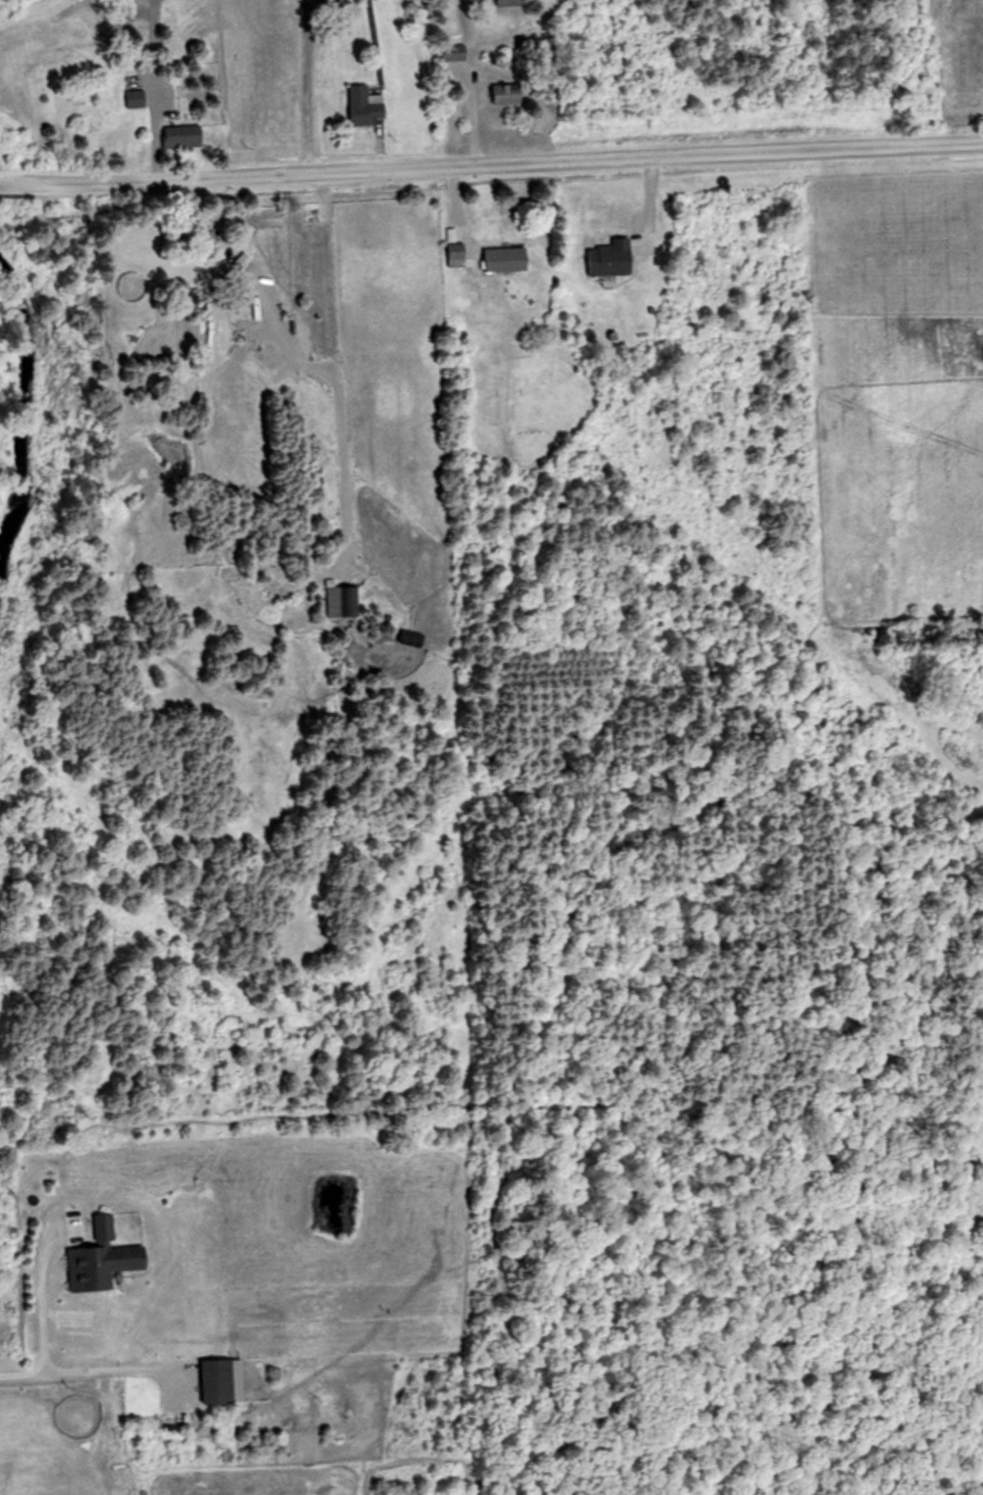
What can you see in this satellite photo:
building: (510, 3)
road: (373, 38)
building: (454, 53)
road: (306, 83)
building: (512, 93)
building: (135, 99)
building: (363, 106)
building: (183, 136)
road: (491, 159)
building: (457, 255)
building: (612, 257)
building: (506, 259)
building: (243, 261)
building: (234, 301)
building: (341, 600)
building: (106, 1267)
road: (41, 1311)
road: (102, 1371)
road: (18, 1375)
building: (218, 1382)

